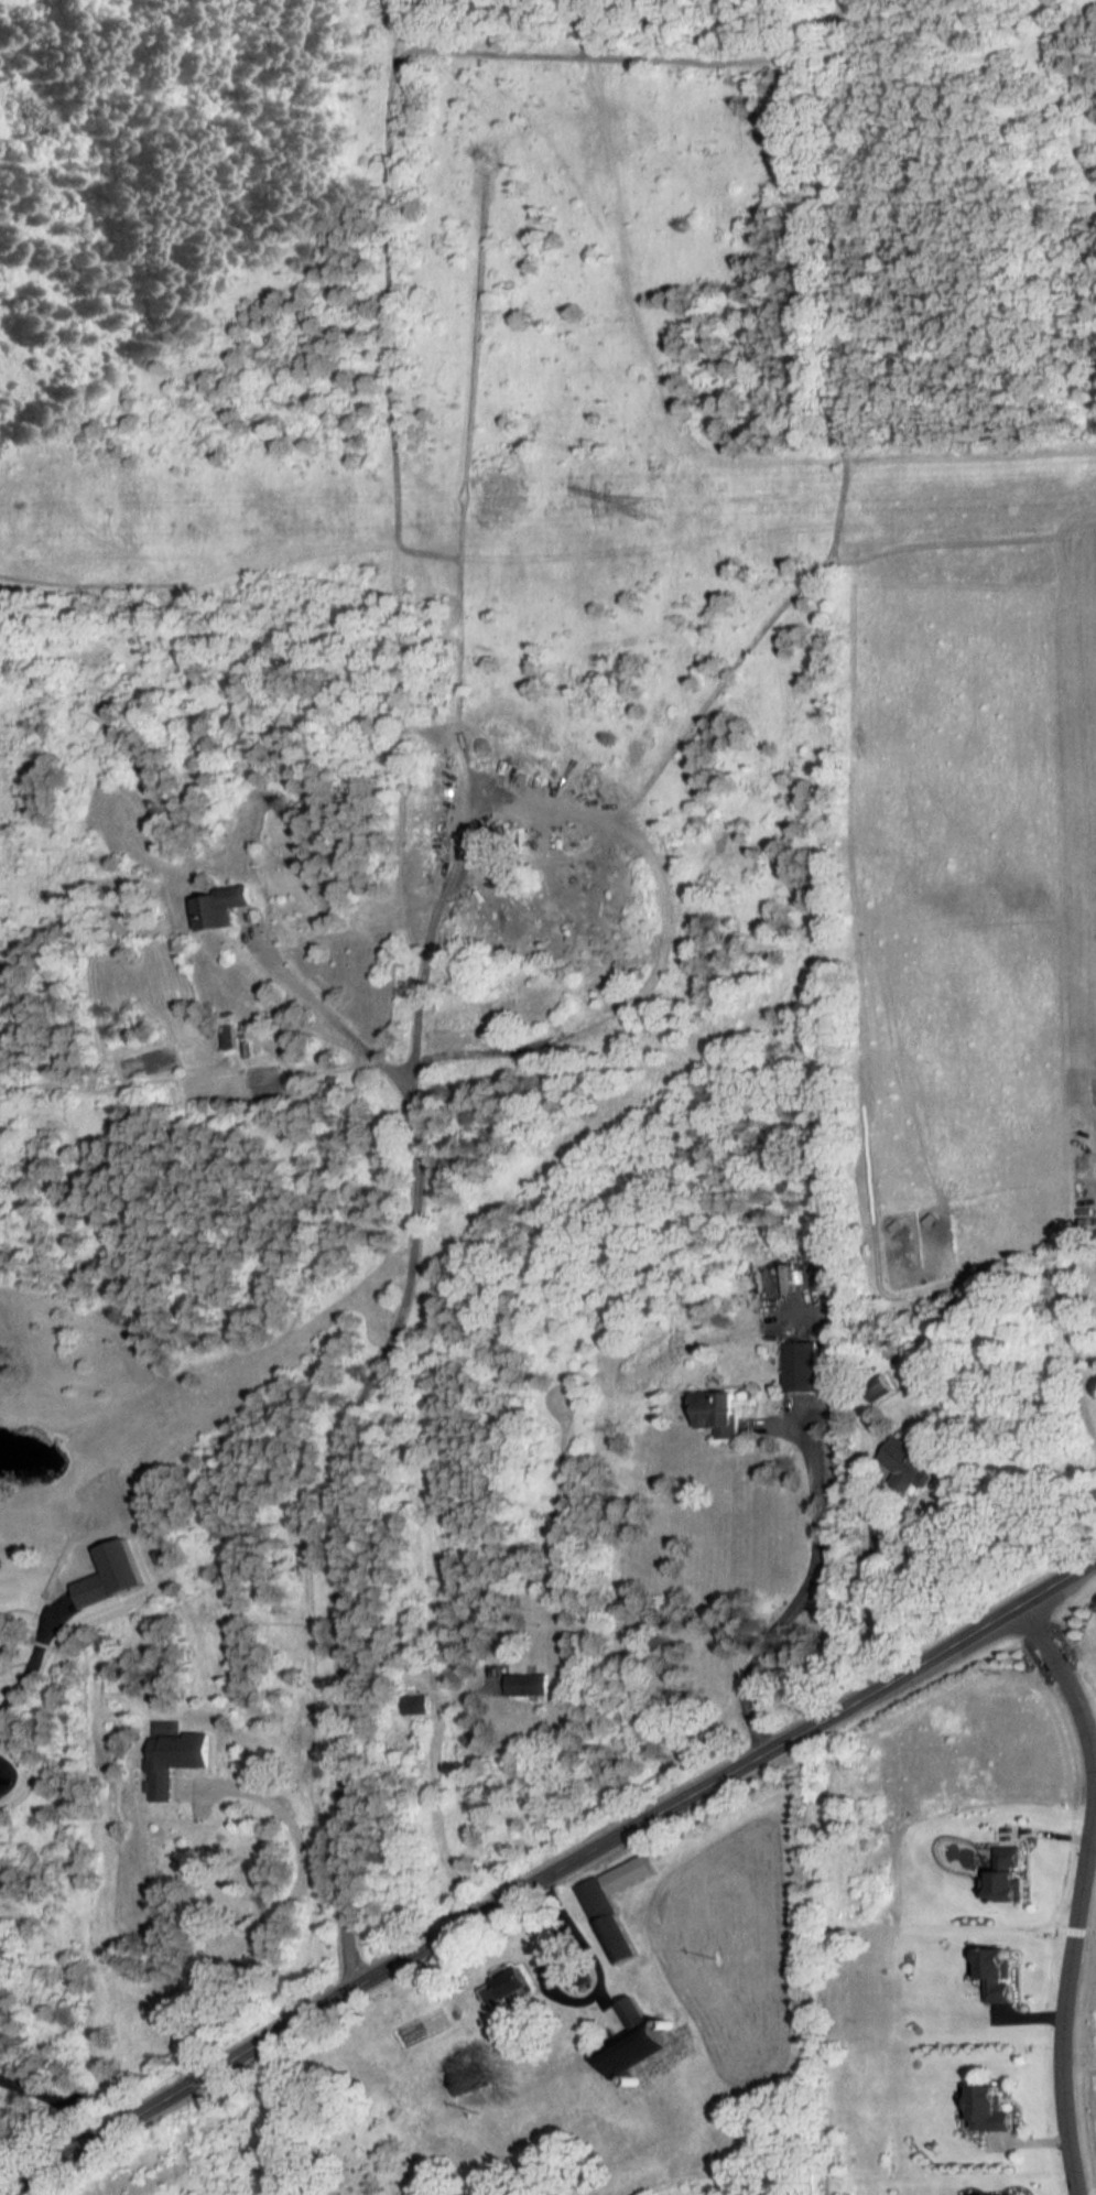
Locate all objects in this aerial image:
power tower: (647, 512)
building: (220, 908)
road: (334, 1020)
building: (802, 1367)
building: (719, 1413)
road: (338, 1438)
building: (905, 1466)
building: (93, 1590)
road: (802, 1597)
road: (877, 1599)
road: (28, 1664)
road: (1066, 1668)
building: (529, 1684)
building: (416, 1705)
building: (173, 1756)
road: (436, 1807)
road: (550, 1878)
building: (616, 1906)
road: (273, 1920)
building: (571, 1967)
road: (601, 1983)
building: (512, 1990)
road: (1077, 2030)
building: (640, 2041)
building: (465, 2080)
road: (56, 2097)
building: (998, 2110)

